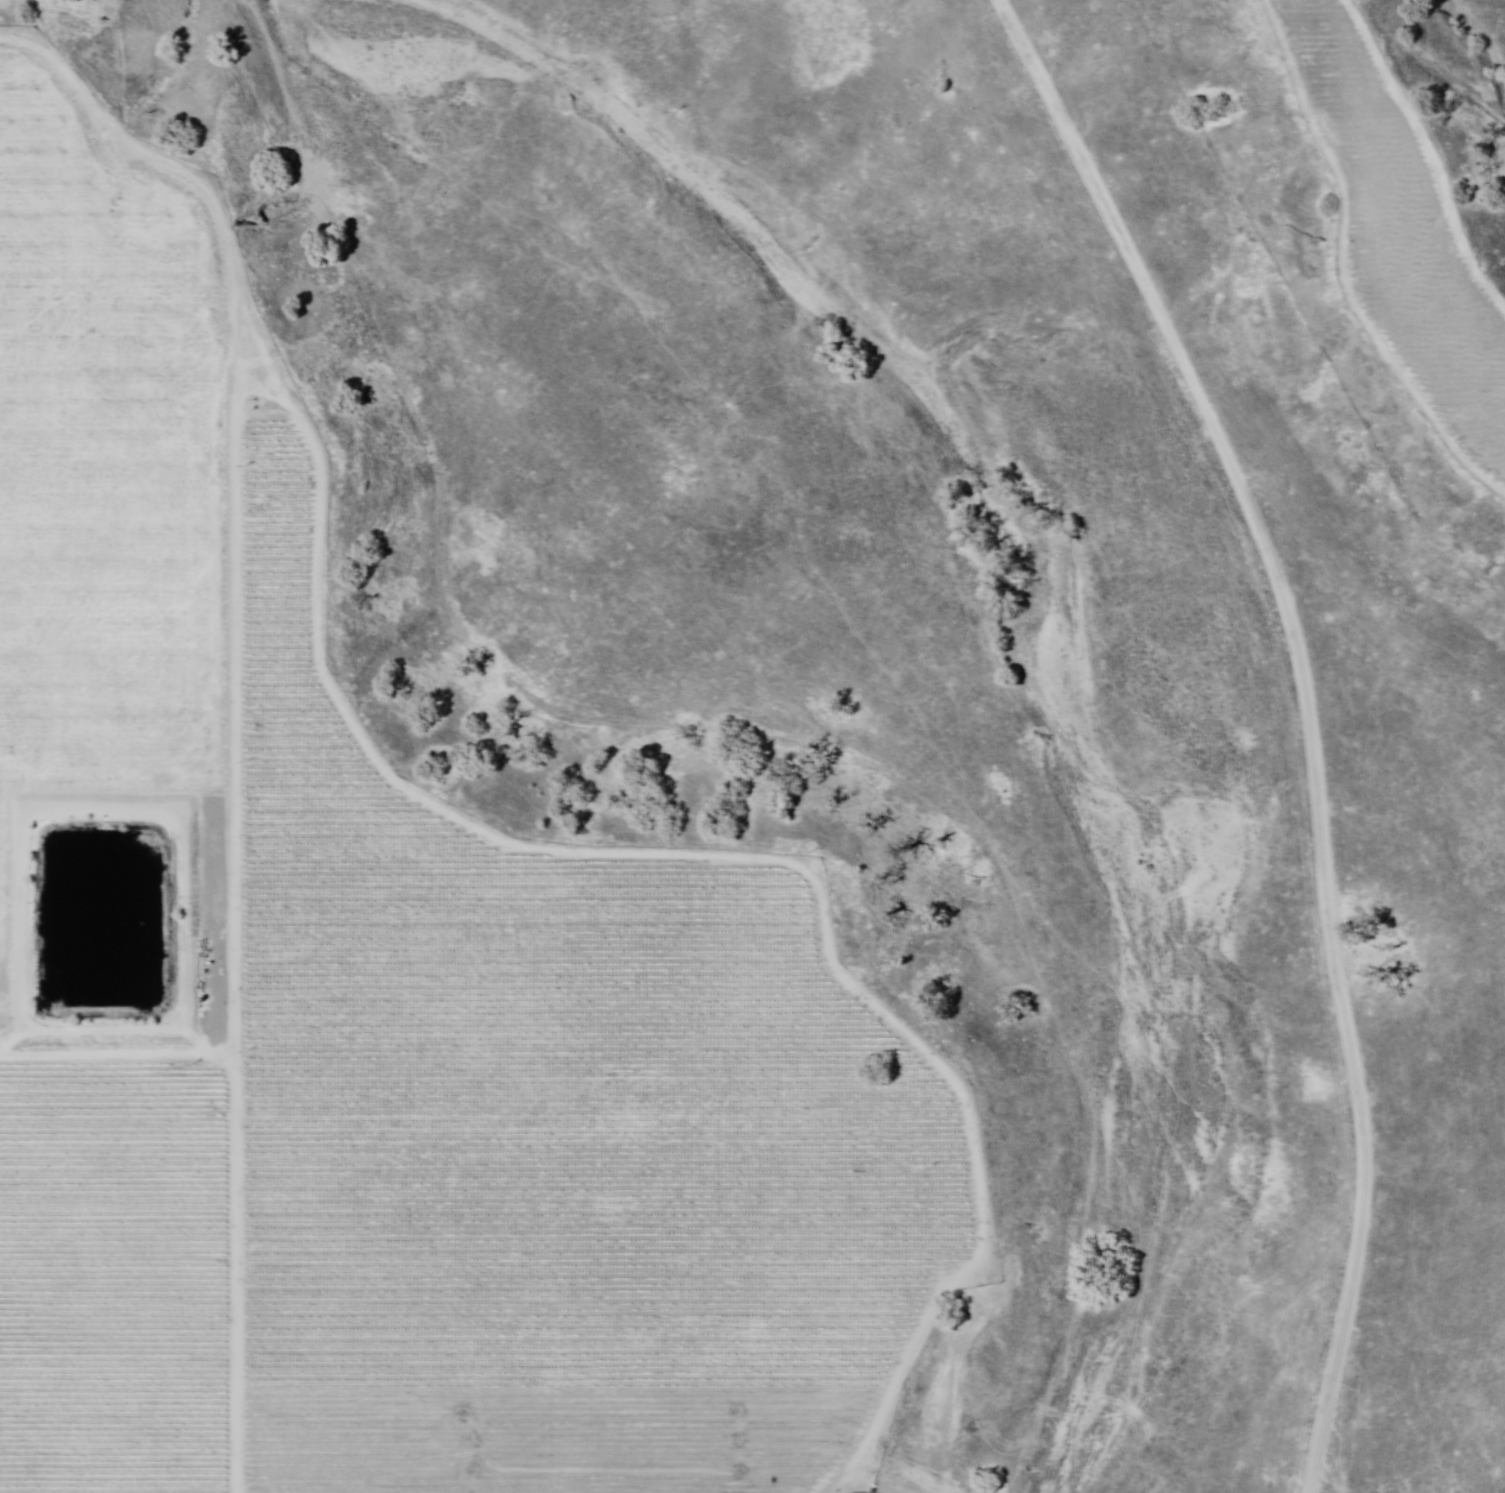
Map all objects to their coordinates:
road: (1431, 152)
road: (1343, 267)
road: (1309, 718)

